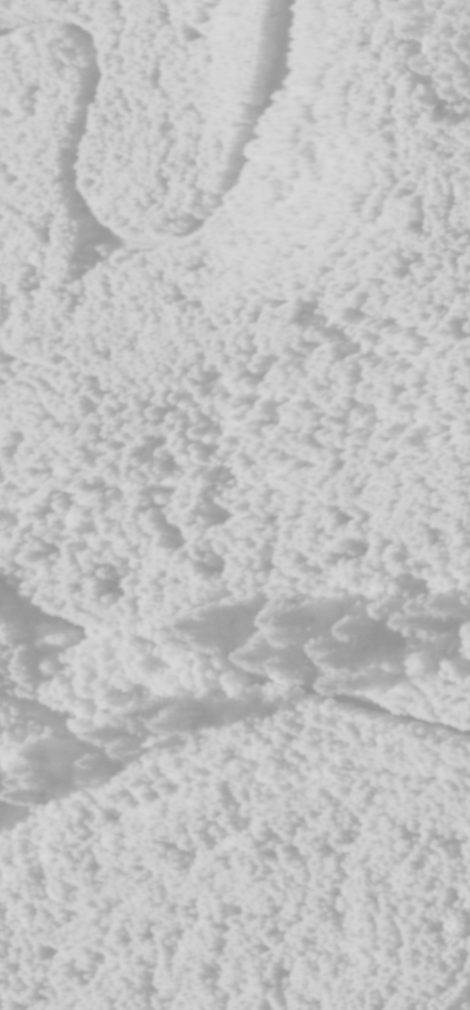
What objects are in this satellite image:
road: (227, 810)

